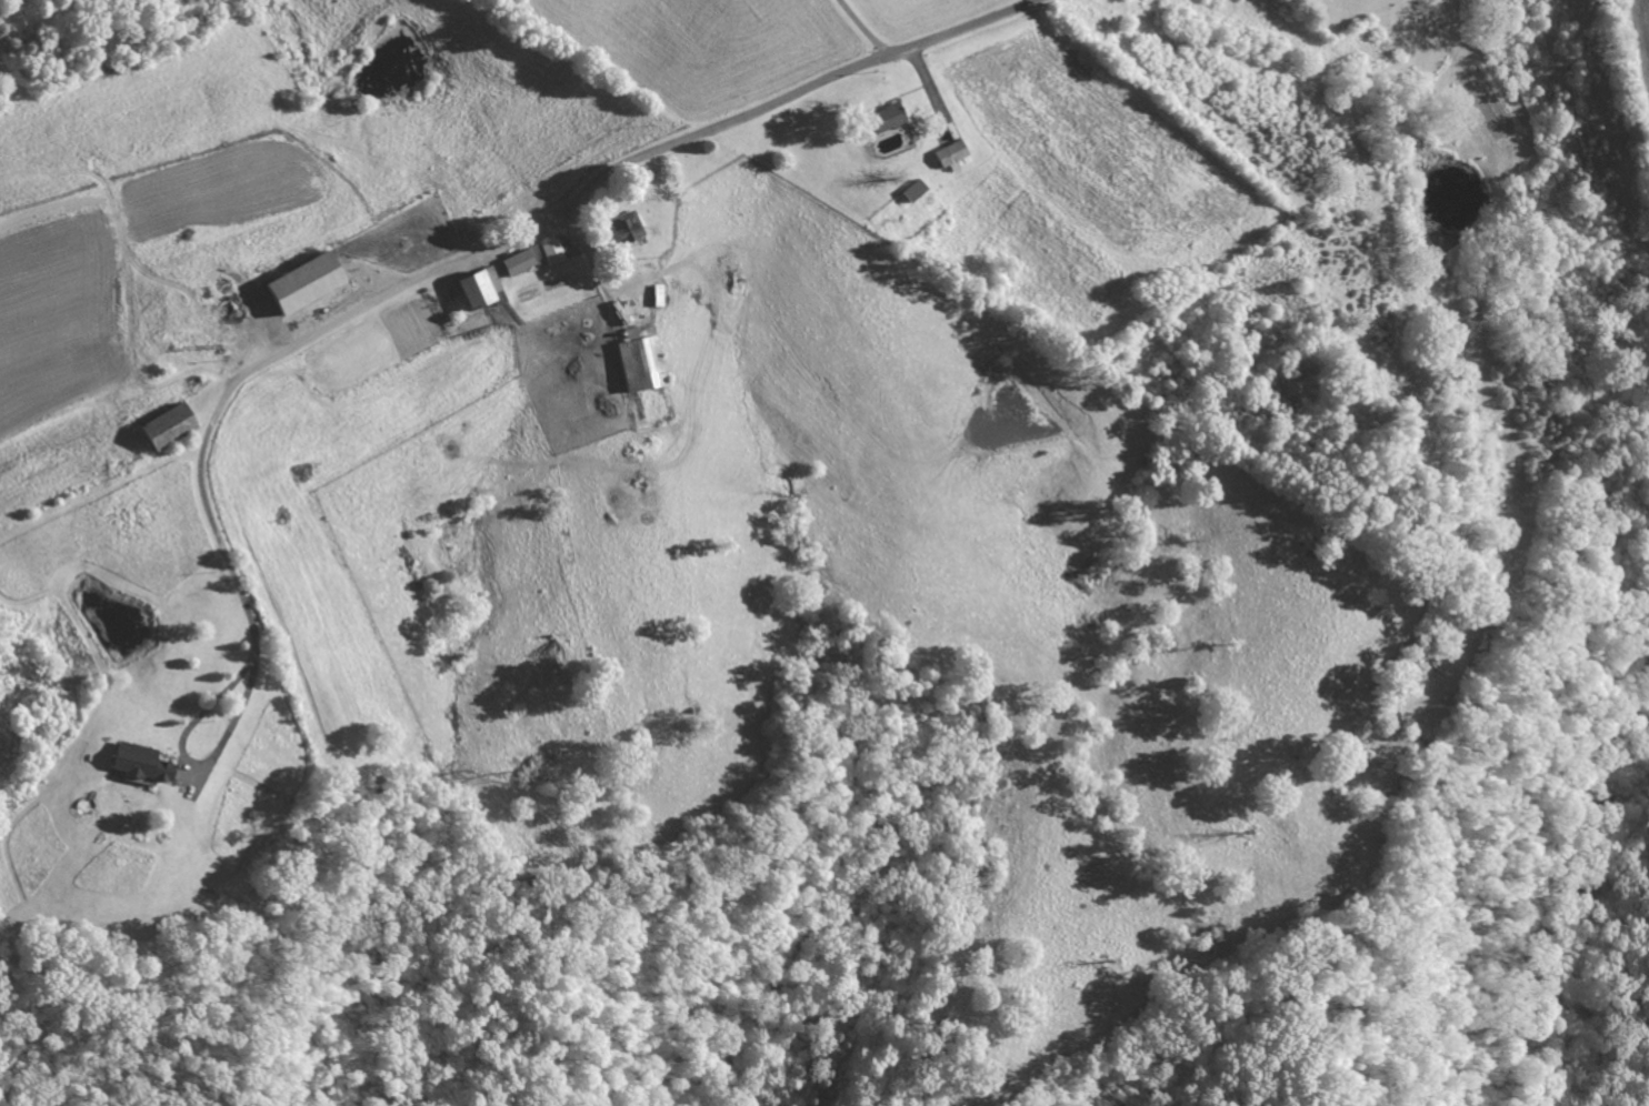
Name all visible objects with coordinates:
road: (789, 99)
building: (886, 118)
building: (950, 155)
building: (912, 190)
building: (624, 227)
building: (550, 252)
building: (532, 253)
building: (516, 262)
building: (302, 282)
building: (479, 289)
building: (639, 361)
building: (166, 426)
building: (140, 763)

